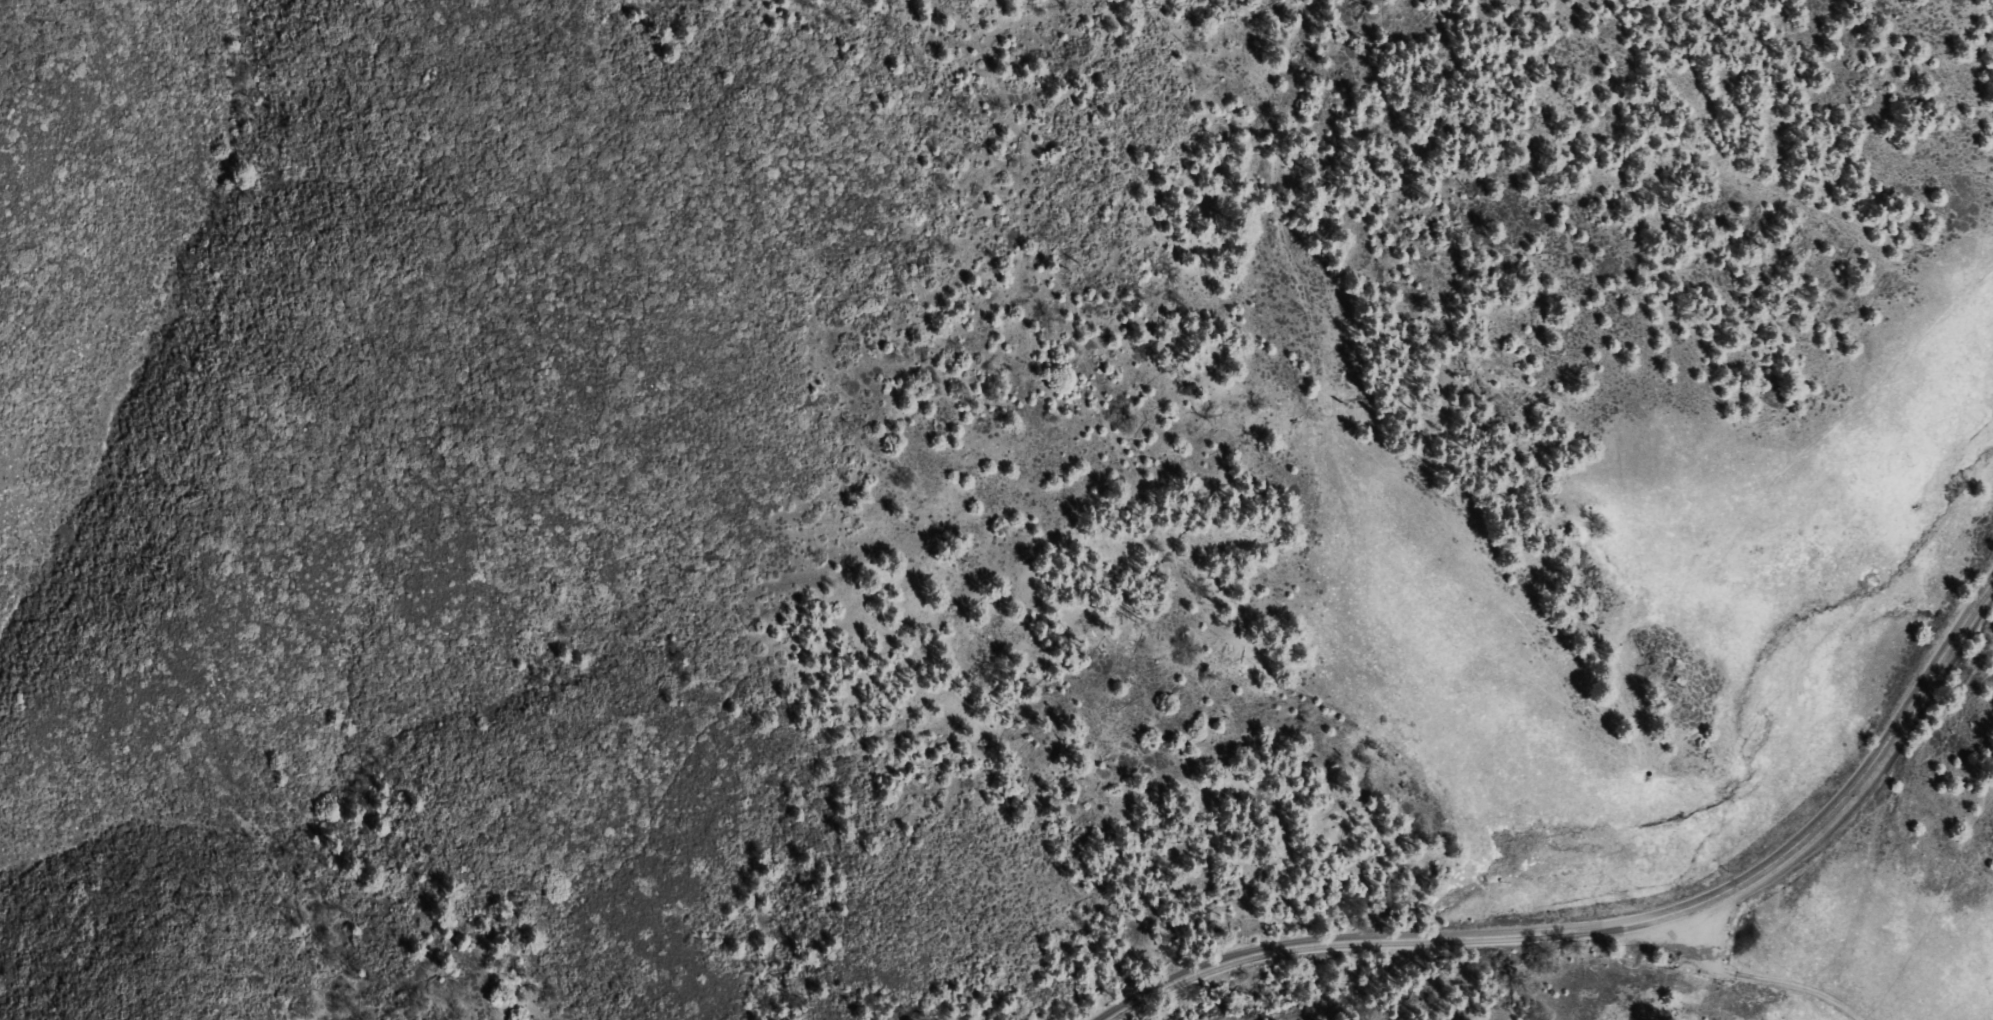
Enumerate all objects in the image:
road: (1620, 926)
road: (1747, 976)
road: (1349, 989)

